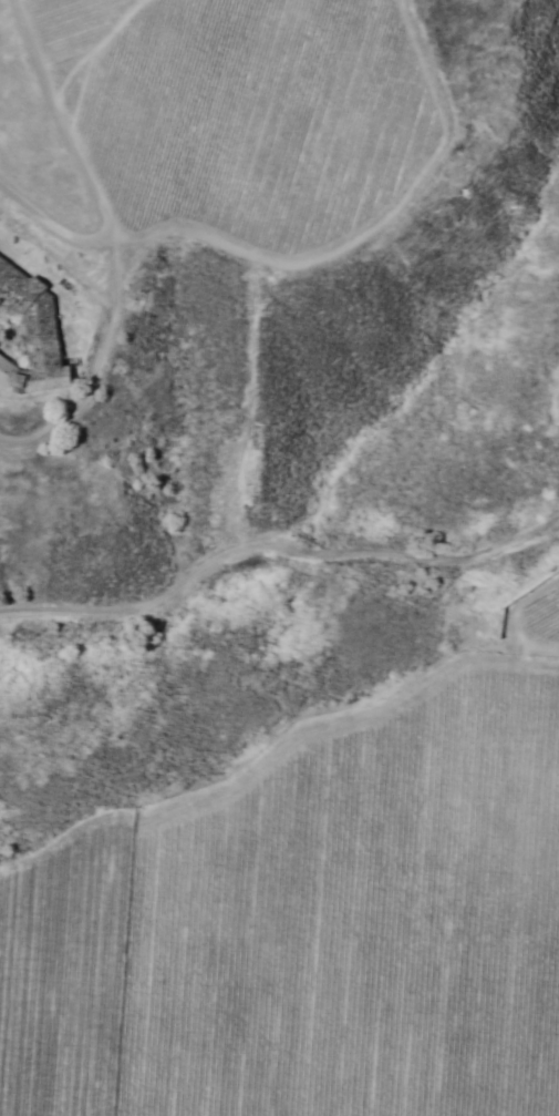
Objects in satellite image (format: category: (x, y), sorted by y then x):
crop: (228, 119)
building: (27, 335)
crop: (314, 924)

